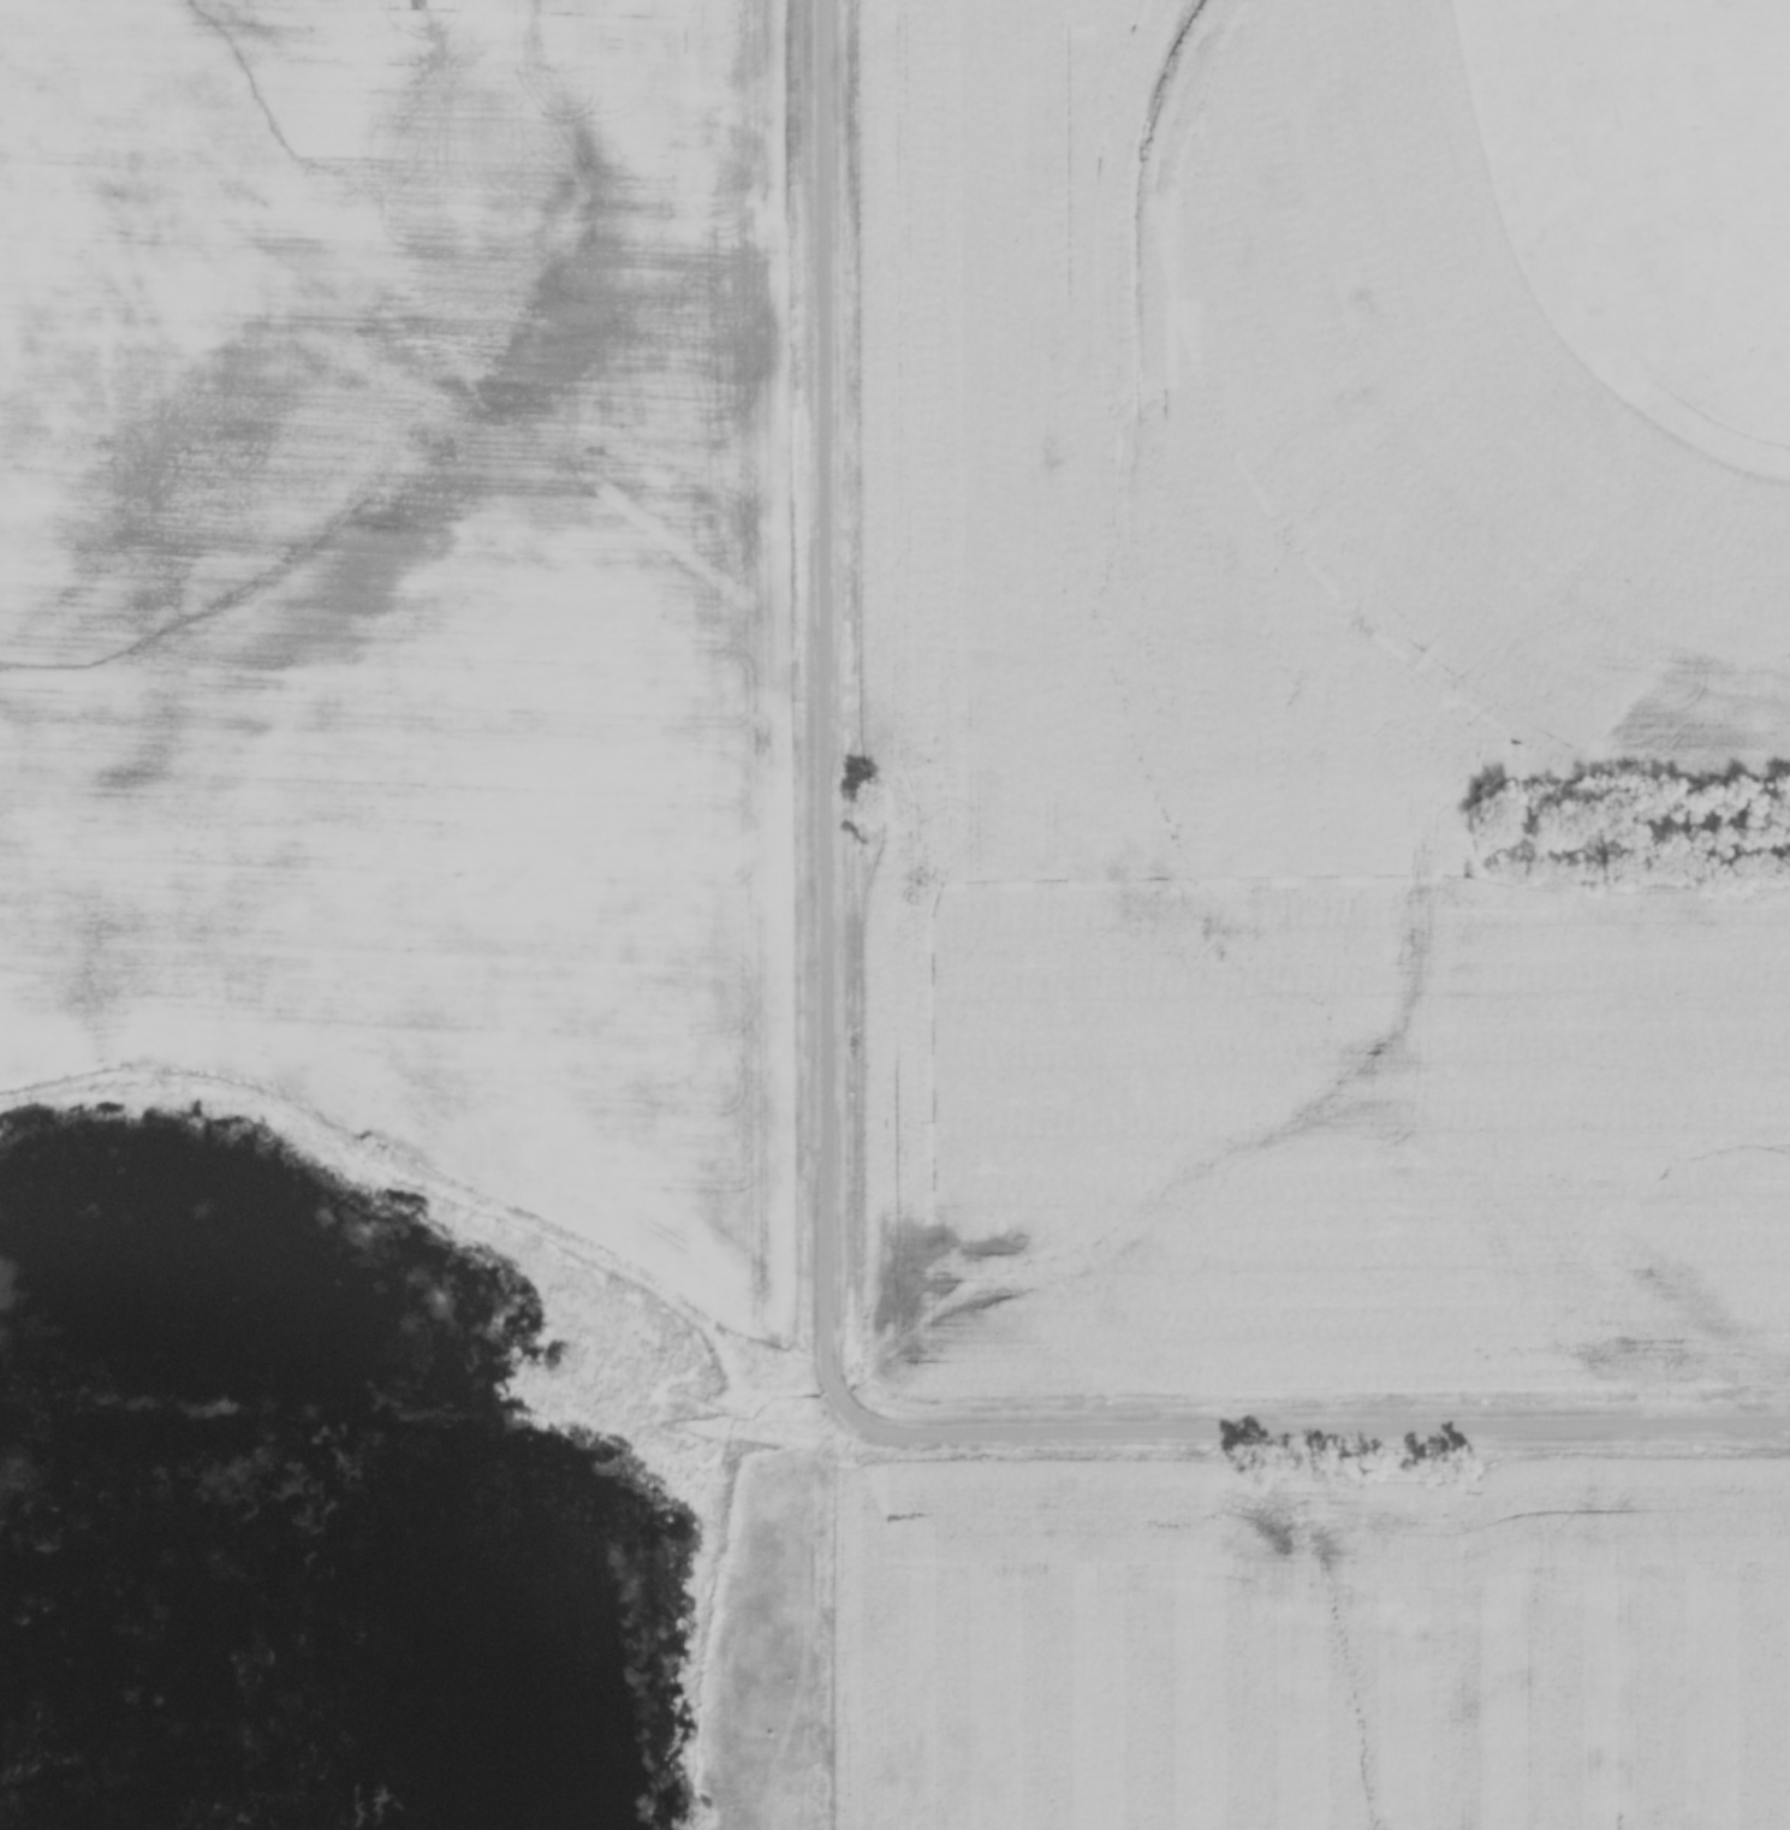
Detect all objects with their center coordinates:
road: (823, 711)
road: (1108, 1422)

